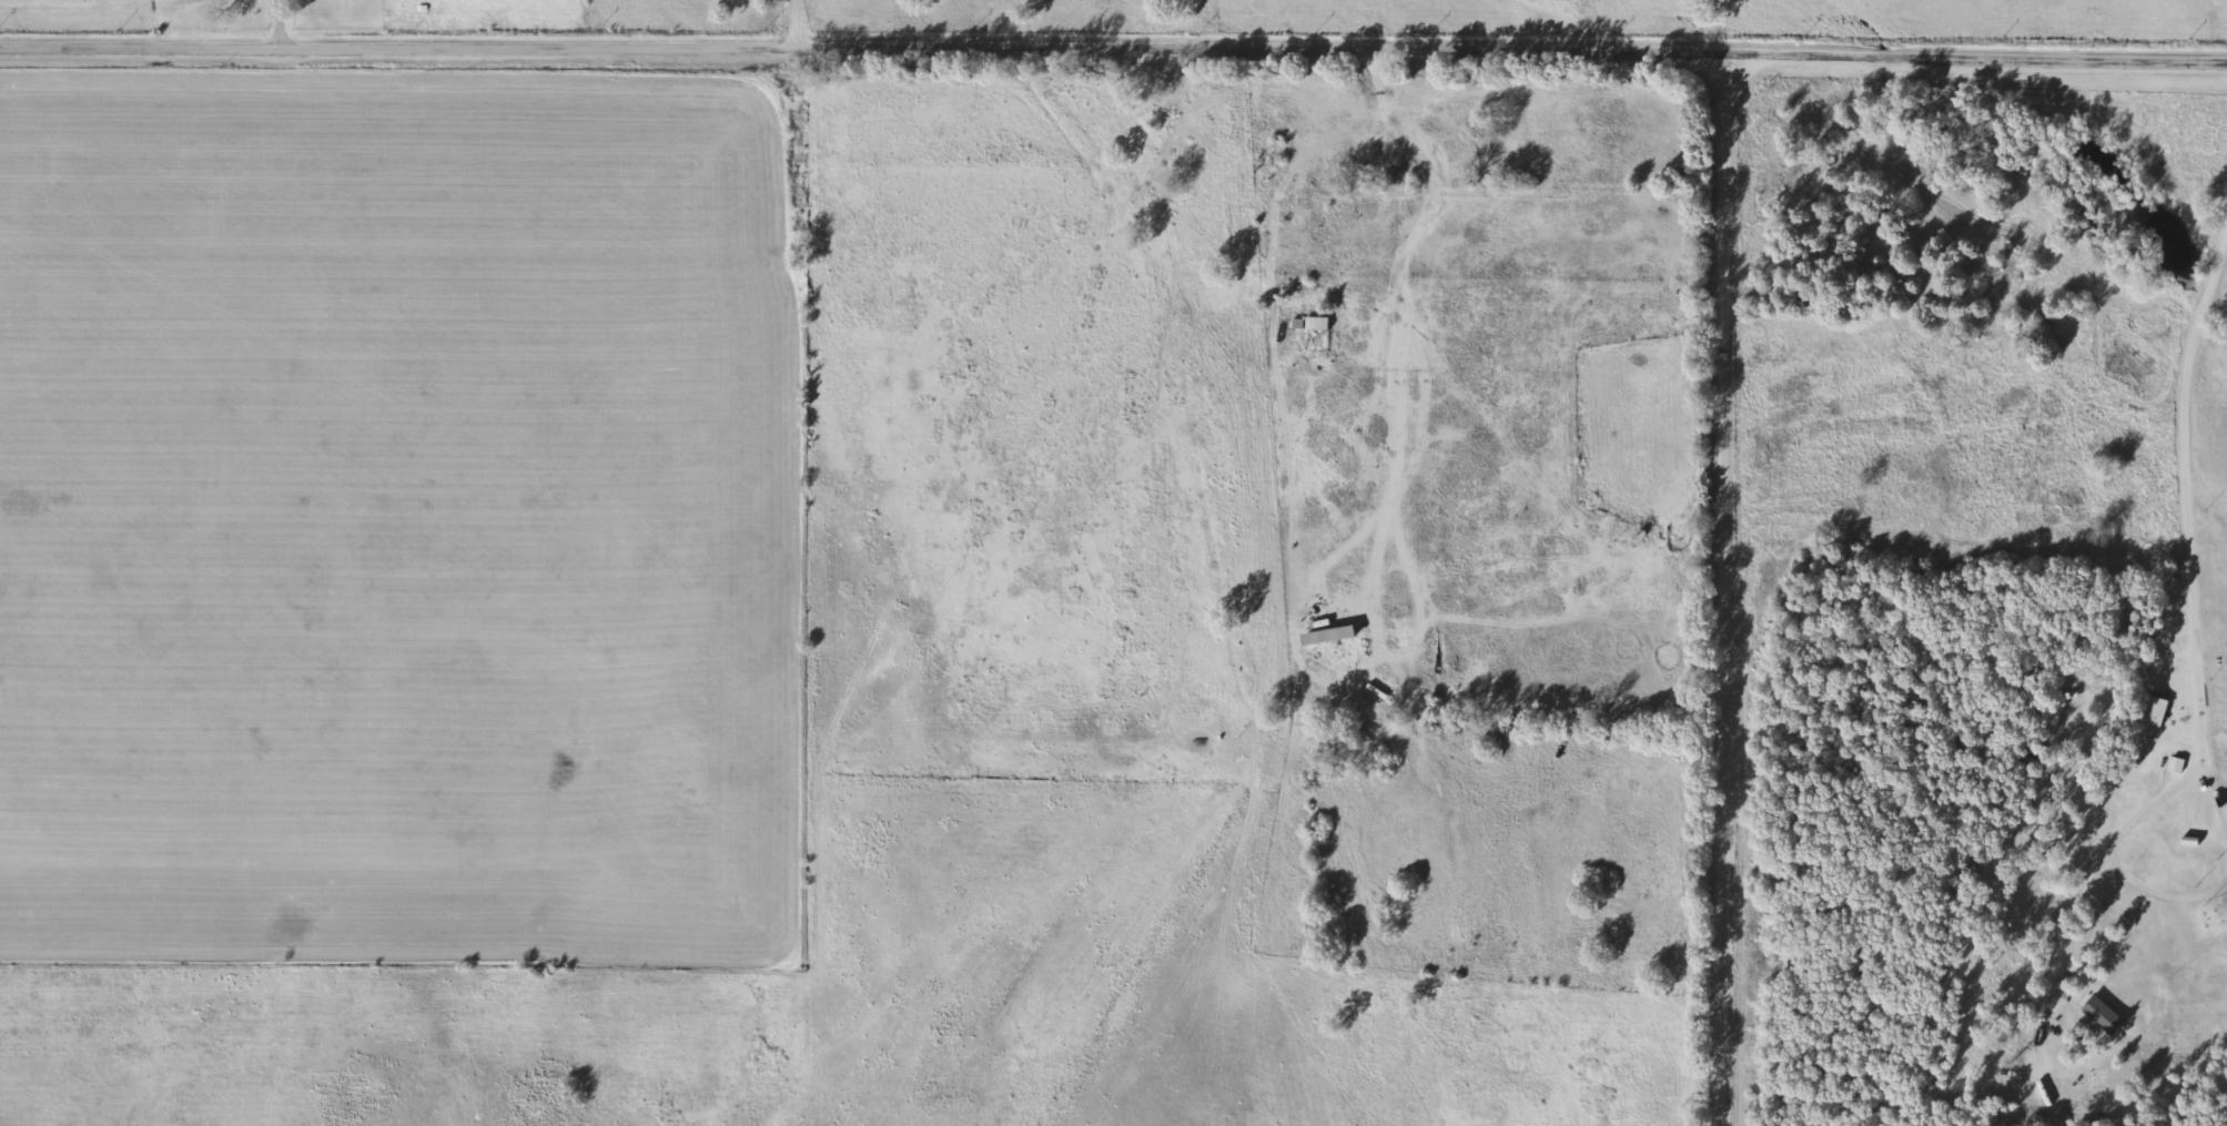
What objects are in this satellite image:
road: (281, 23)
road: (798, 23)
road: (1113, 45)
road: (1428, 168)
building: (1312, 323)
road: (1728, 588)
building: (1330, 636)
road: (2205, 709)
building: (2156, 710)
road: (2215, 782)
road: (2162, 897)
building: (2107, 1015)

